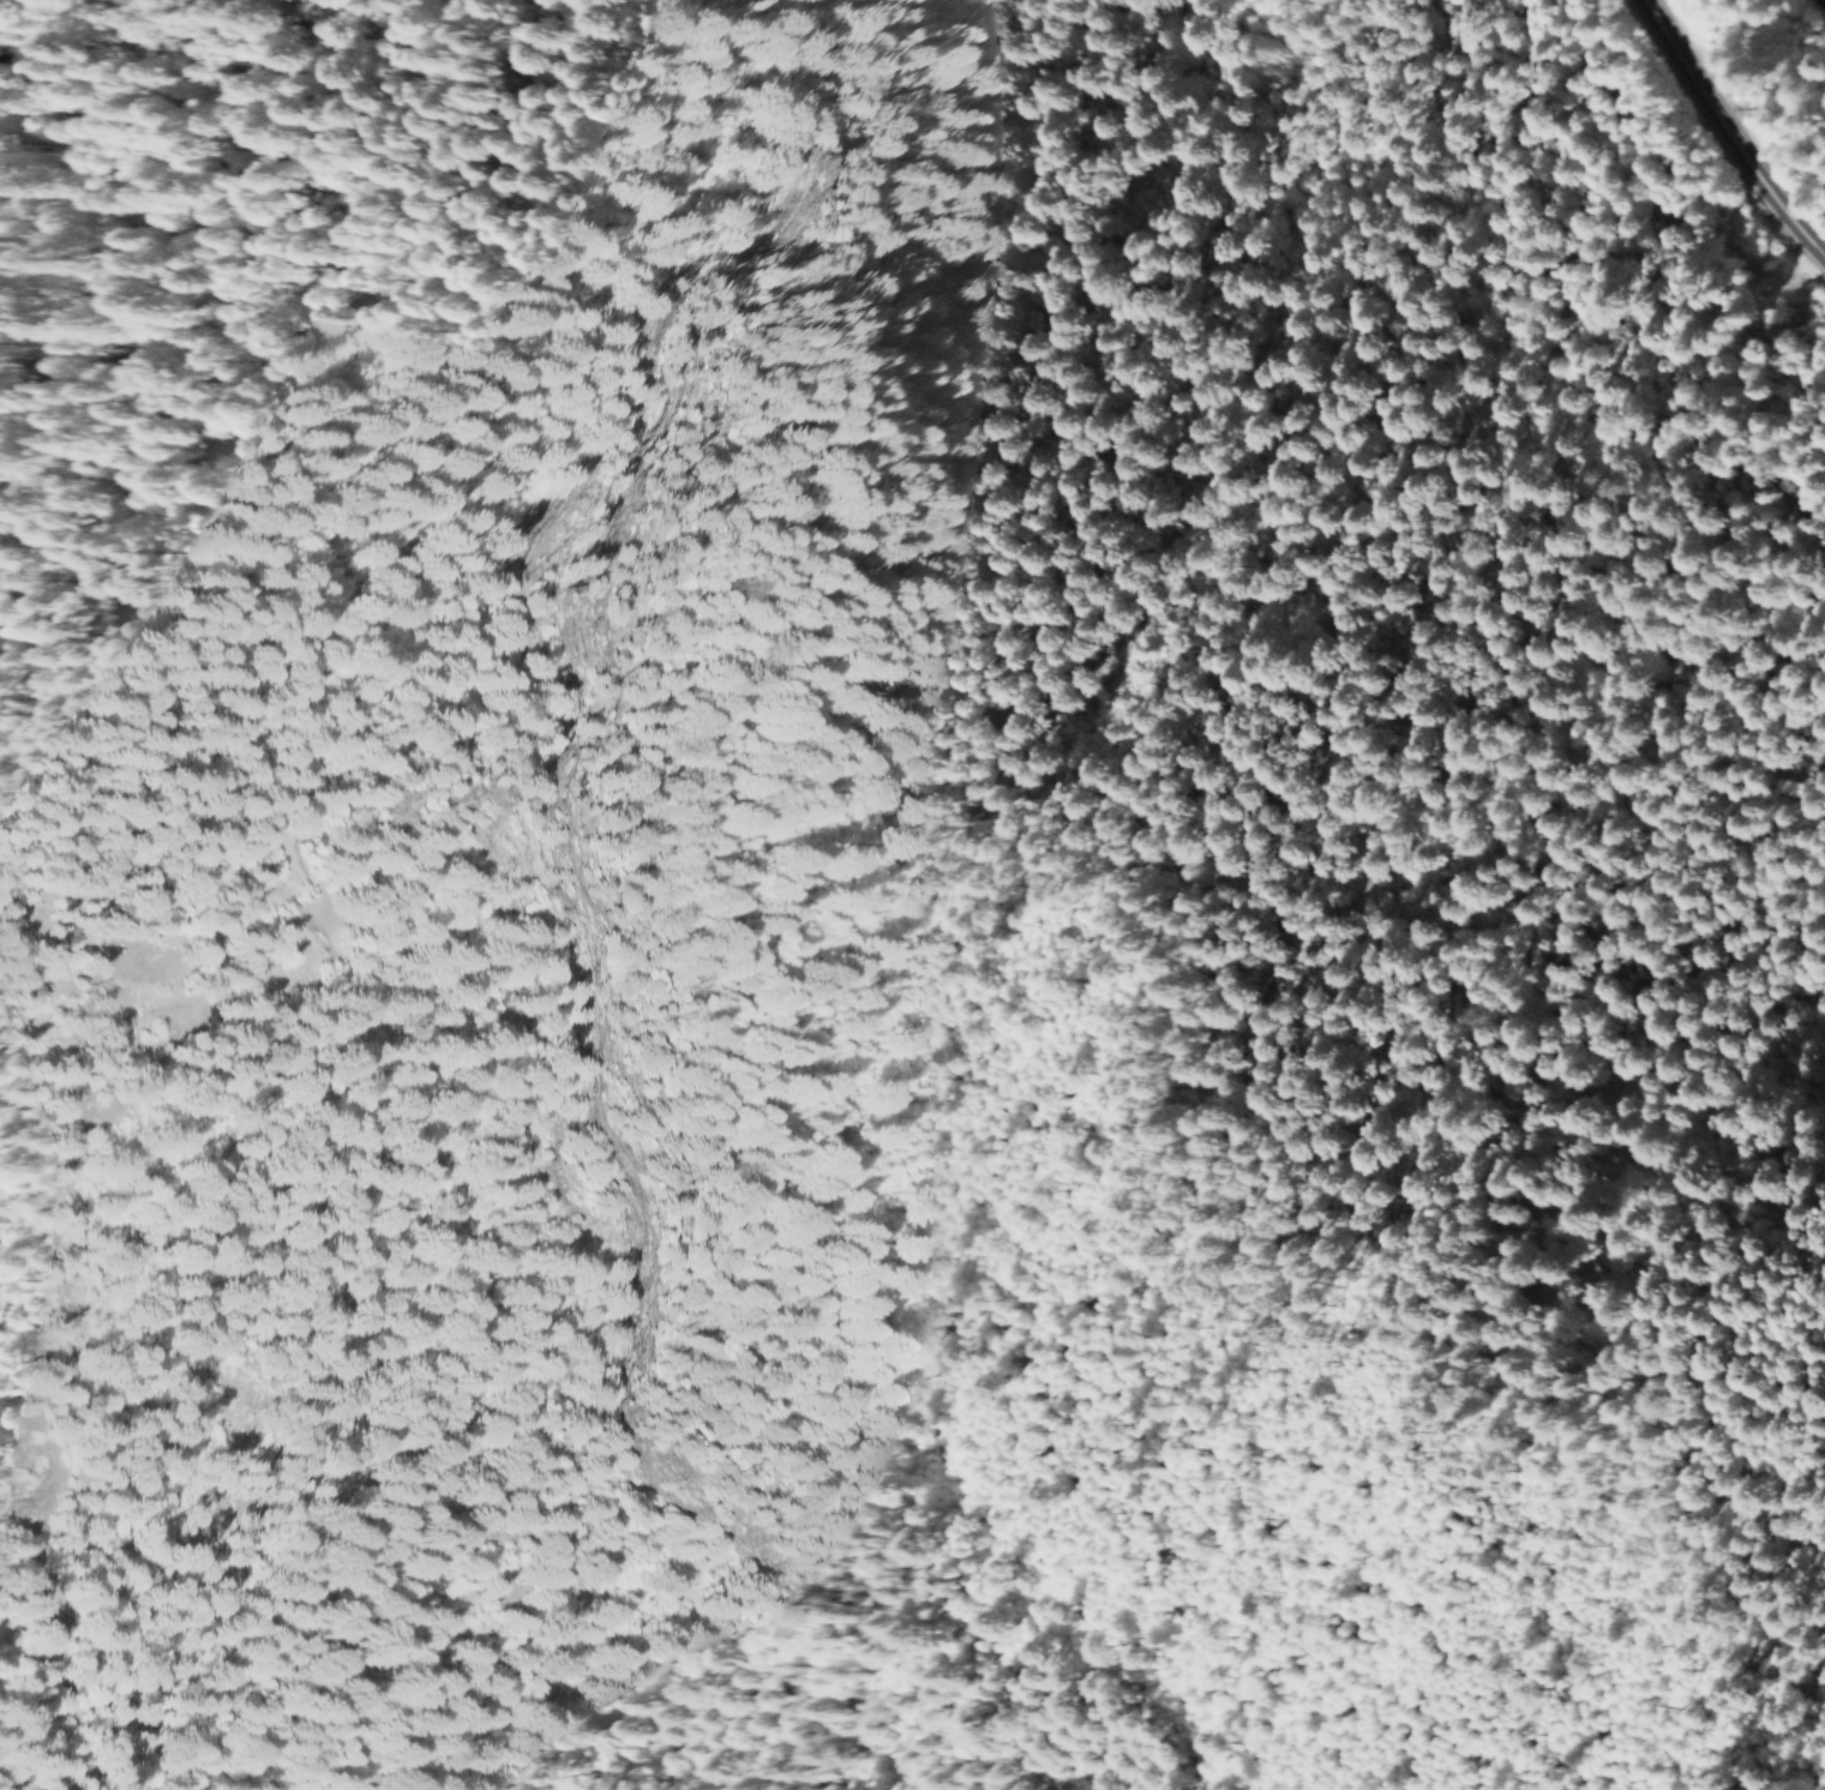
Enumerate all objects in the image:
river: (1817, 11)
road: (1727, 138)

